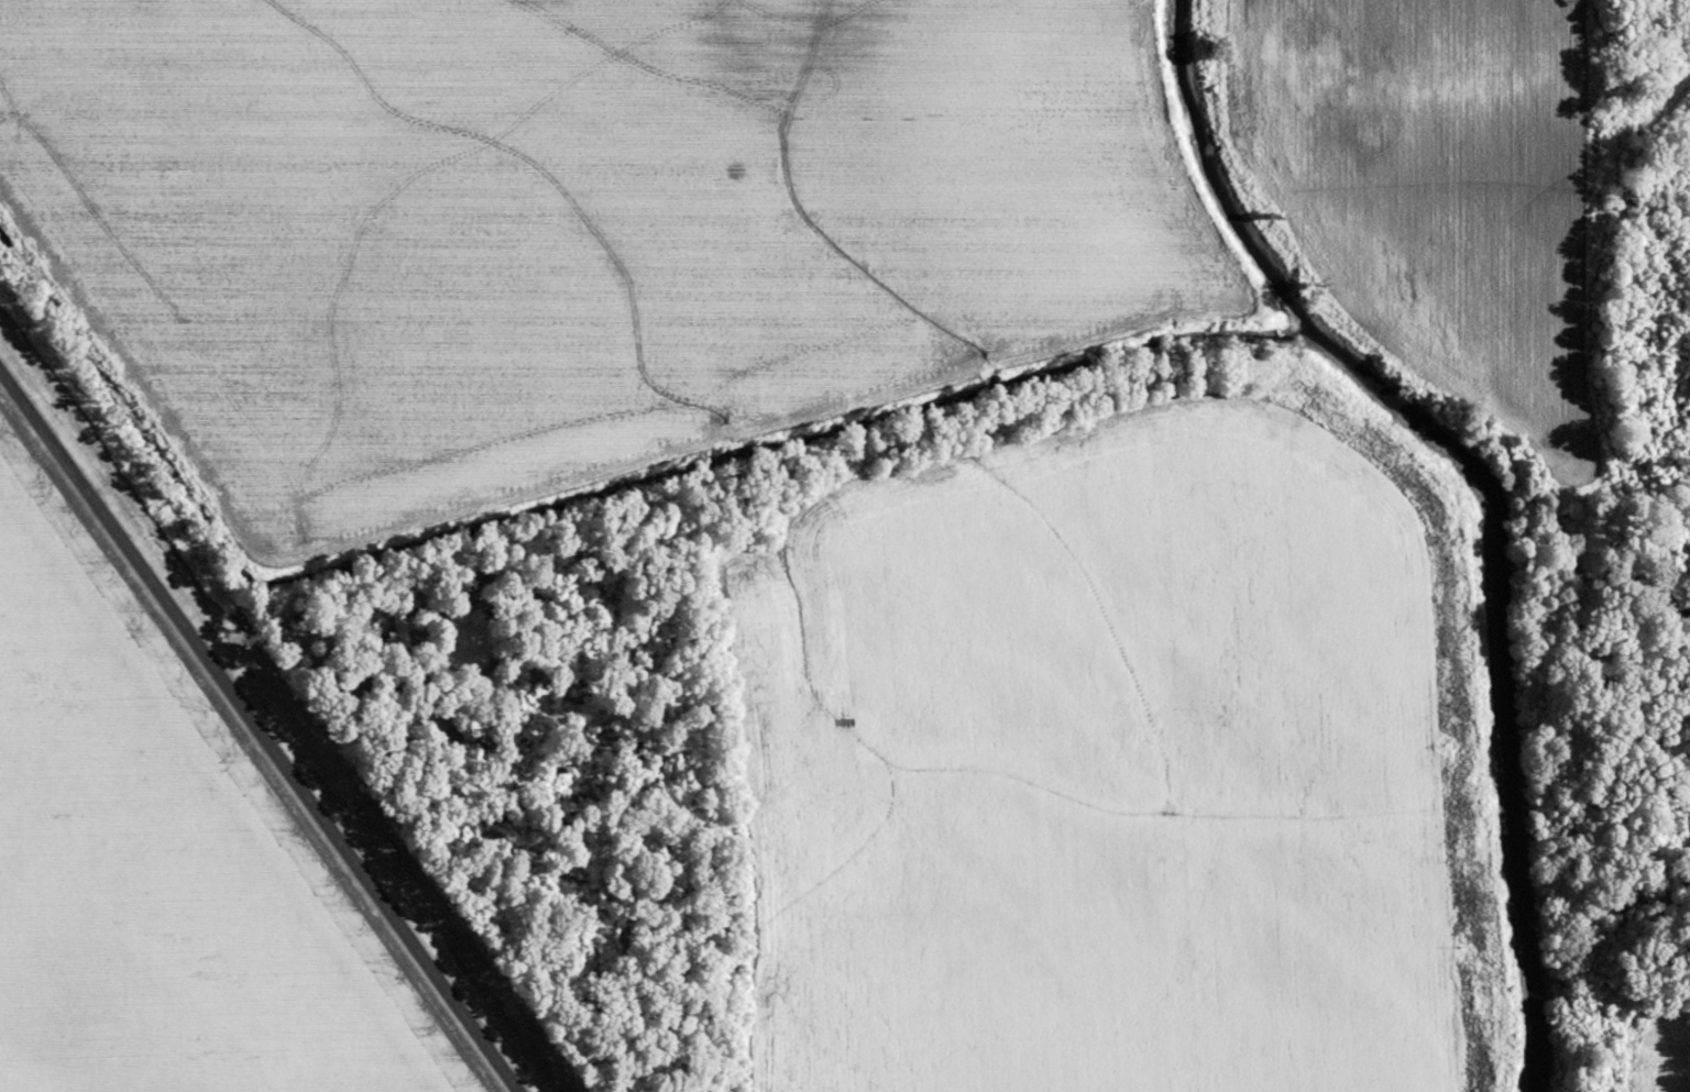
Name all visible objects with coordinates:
road: (1273, 168)
building: (473, 598)
building: (399, 629)
road: (259, 732)

